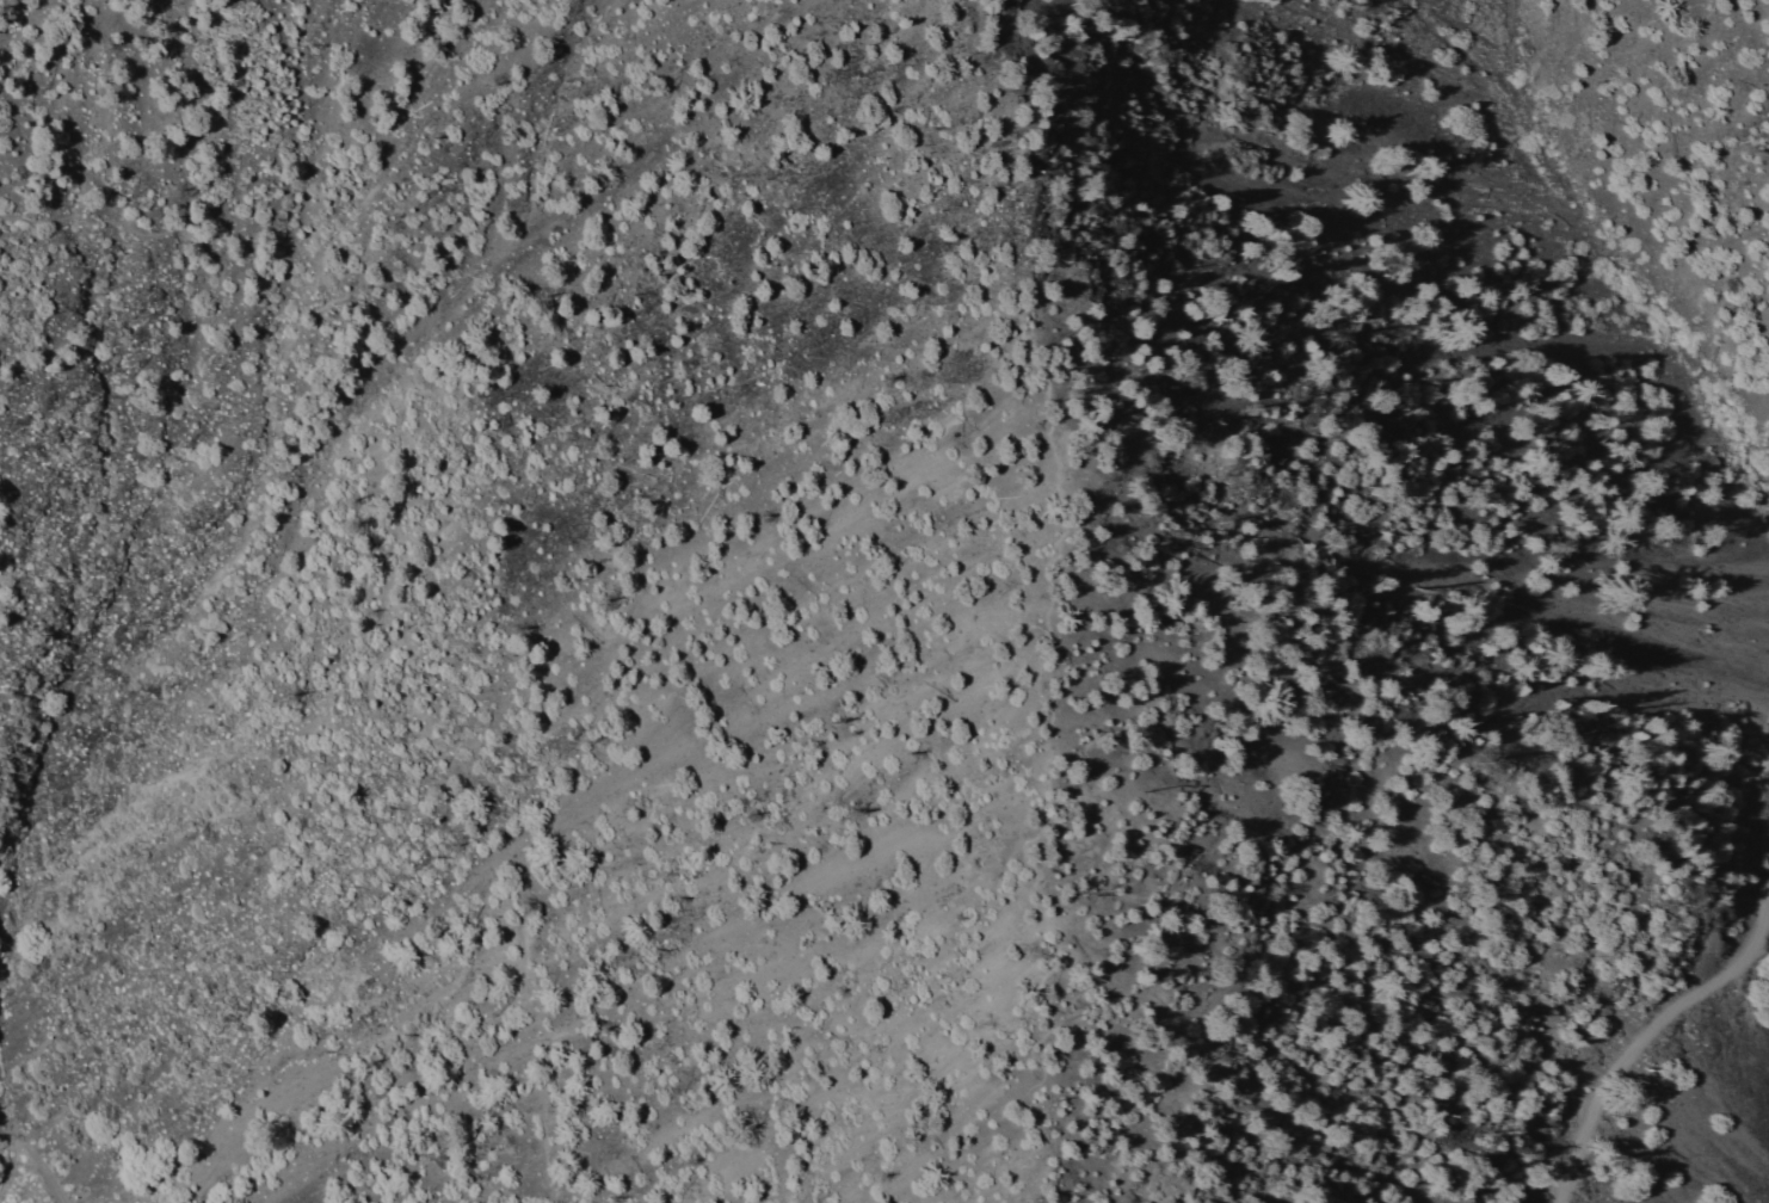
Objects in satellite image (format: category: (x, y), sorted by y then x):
road: (395, 535)
road: (1046, 611)
road: (1706, 988)
ski resort: (1750, 1134)
road: (37, 1161)

